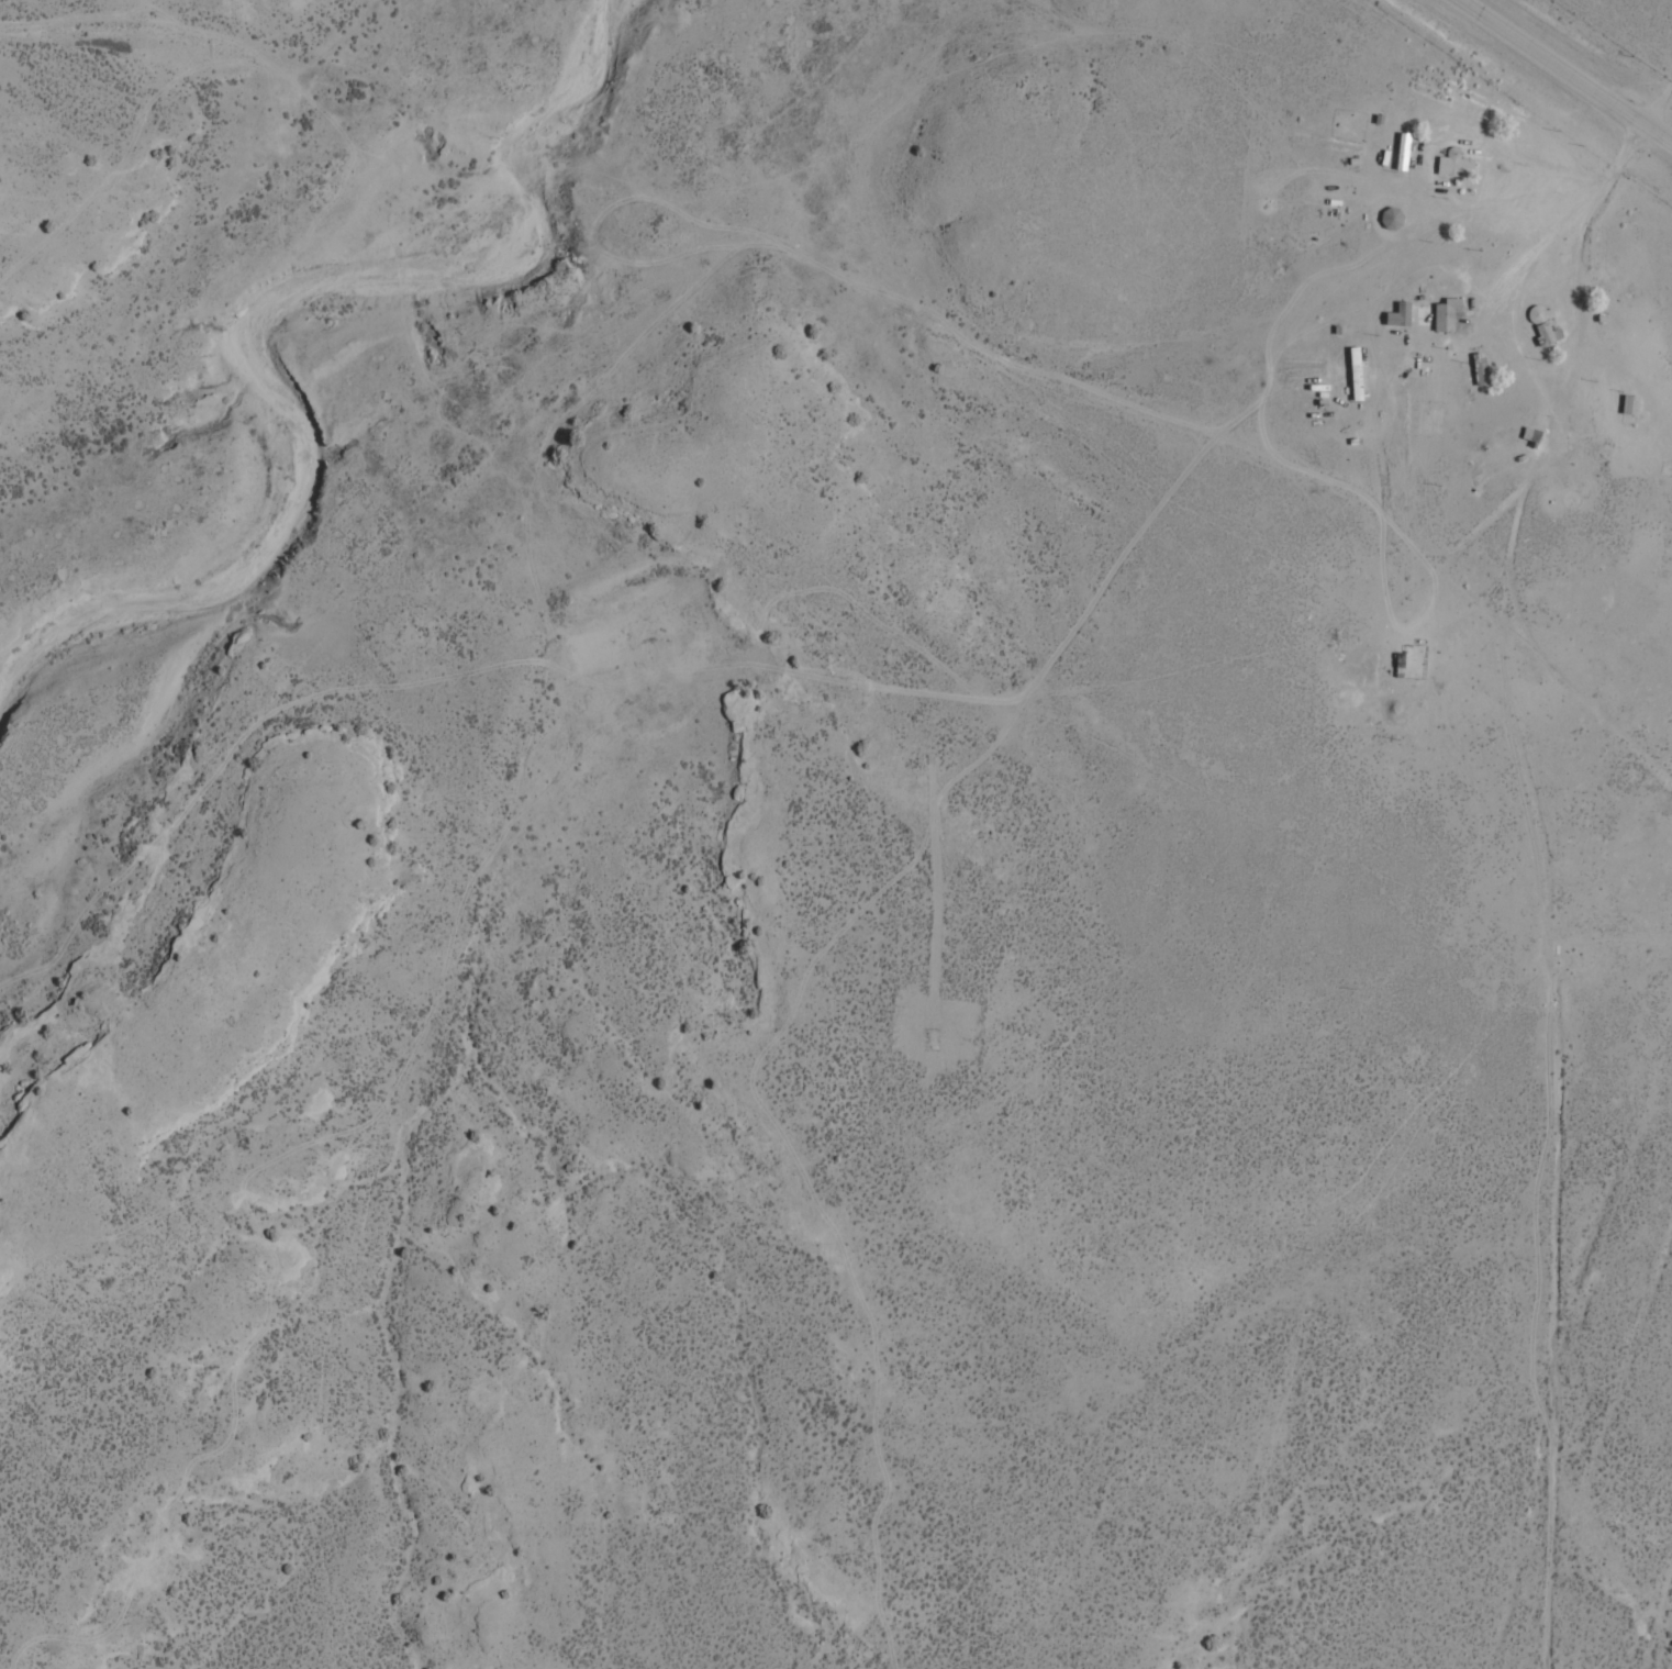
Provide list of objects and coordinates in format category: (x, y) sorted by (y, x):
road: (1637, 81)
road: (1548, 86)
building: (1400, 153)
building: (1453, 167)
building: (1442, 314)
building: (1397, 315)
building: (1478, 369)
road: (1585, 385)
building: (1627, 404)
building: (1528, 435)
building: (1414, 661)
building: (1397, 666)

